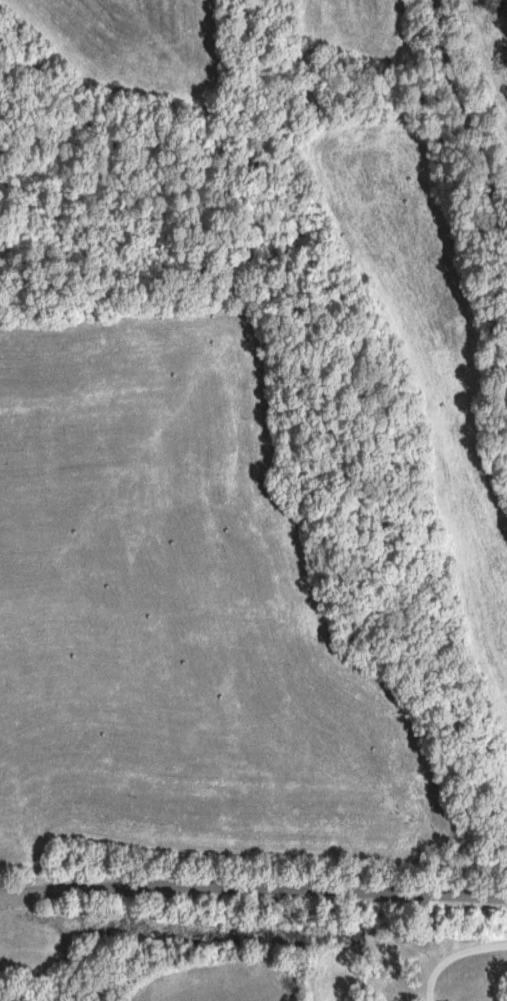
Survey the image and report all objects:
road: (253, 880)
road: (451, 953)

